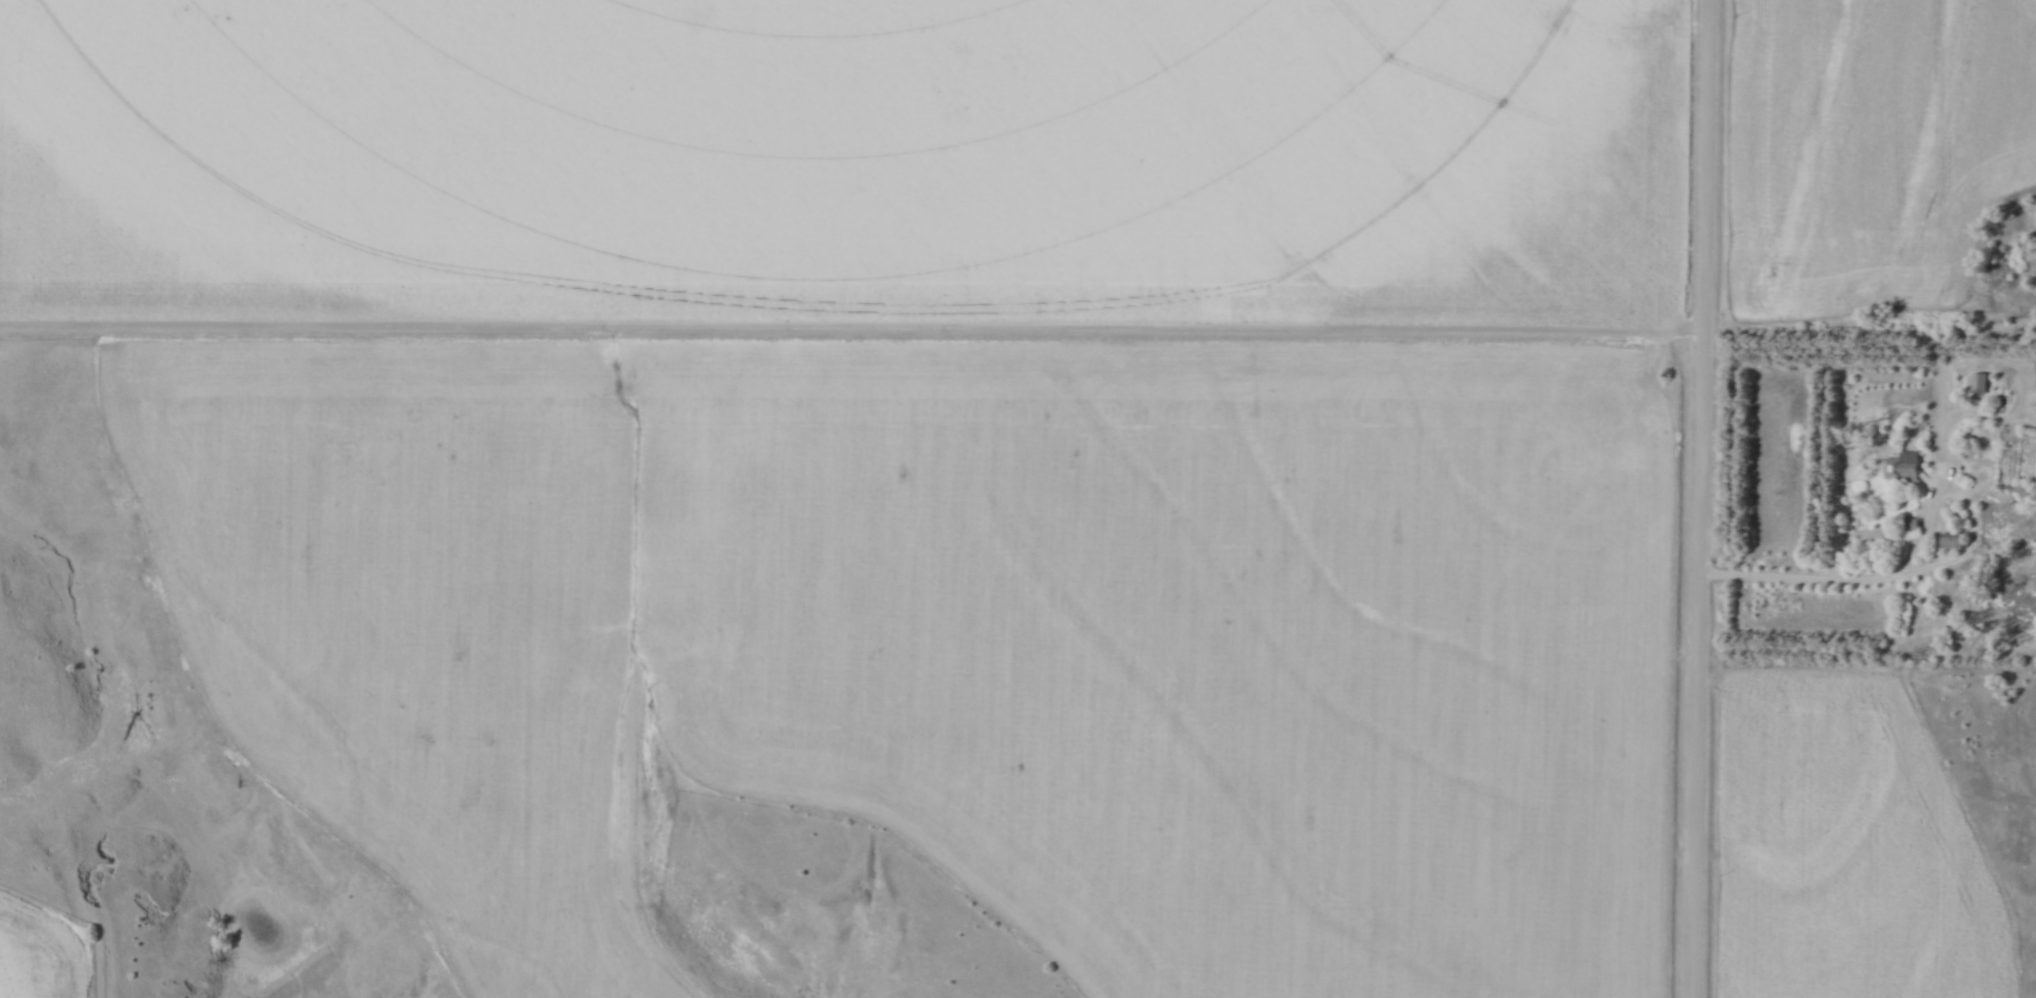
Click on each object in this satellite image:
building: (1976, 382)
building: (1899, 467)
road: (1700, 498)
road: (1860, 578)

